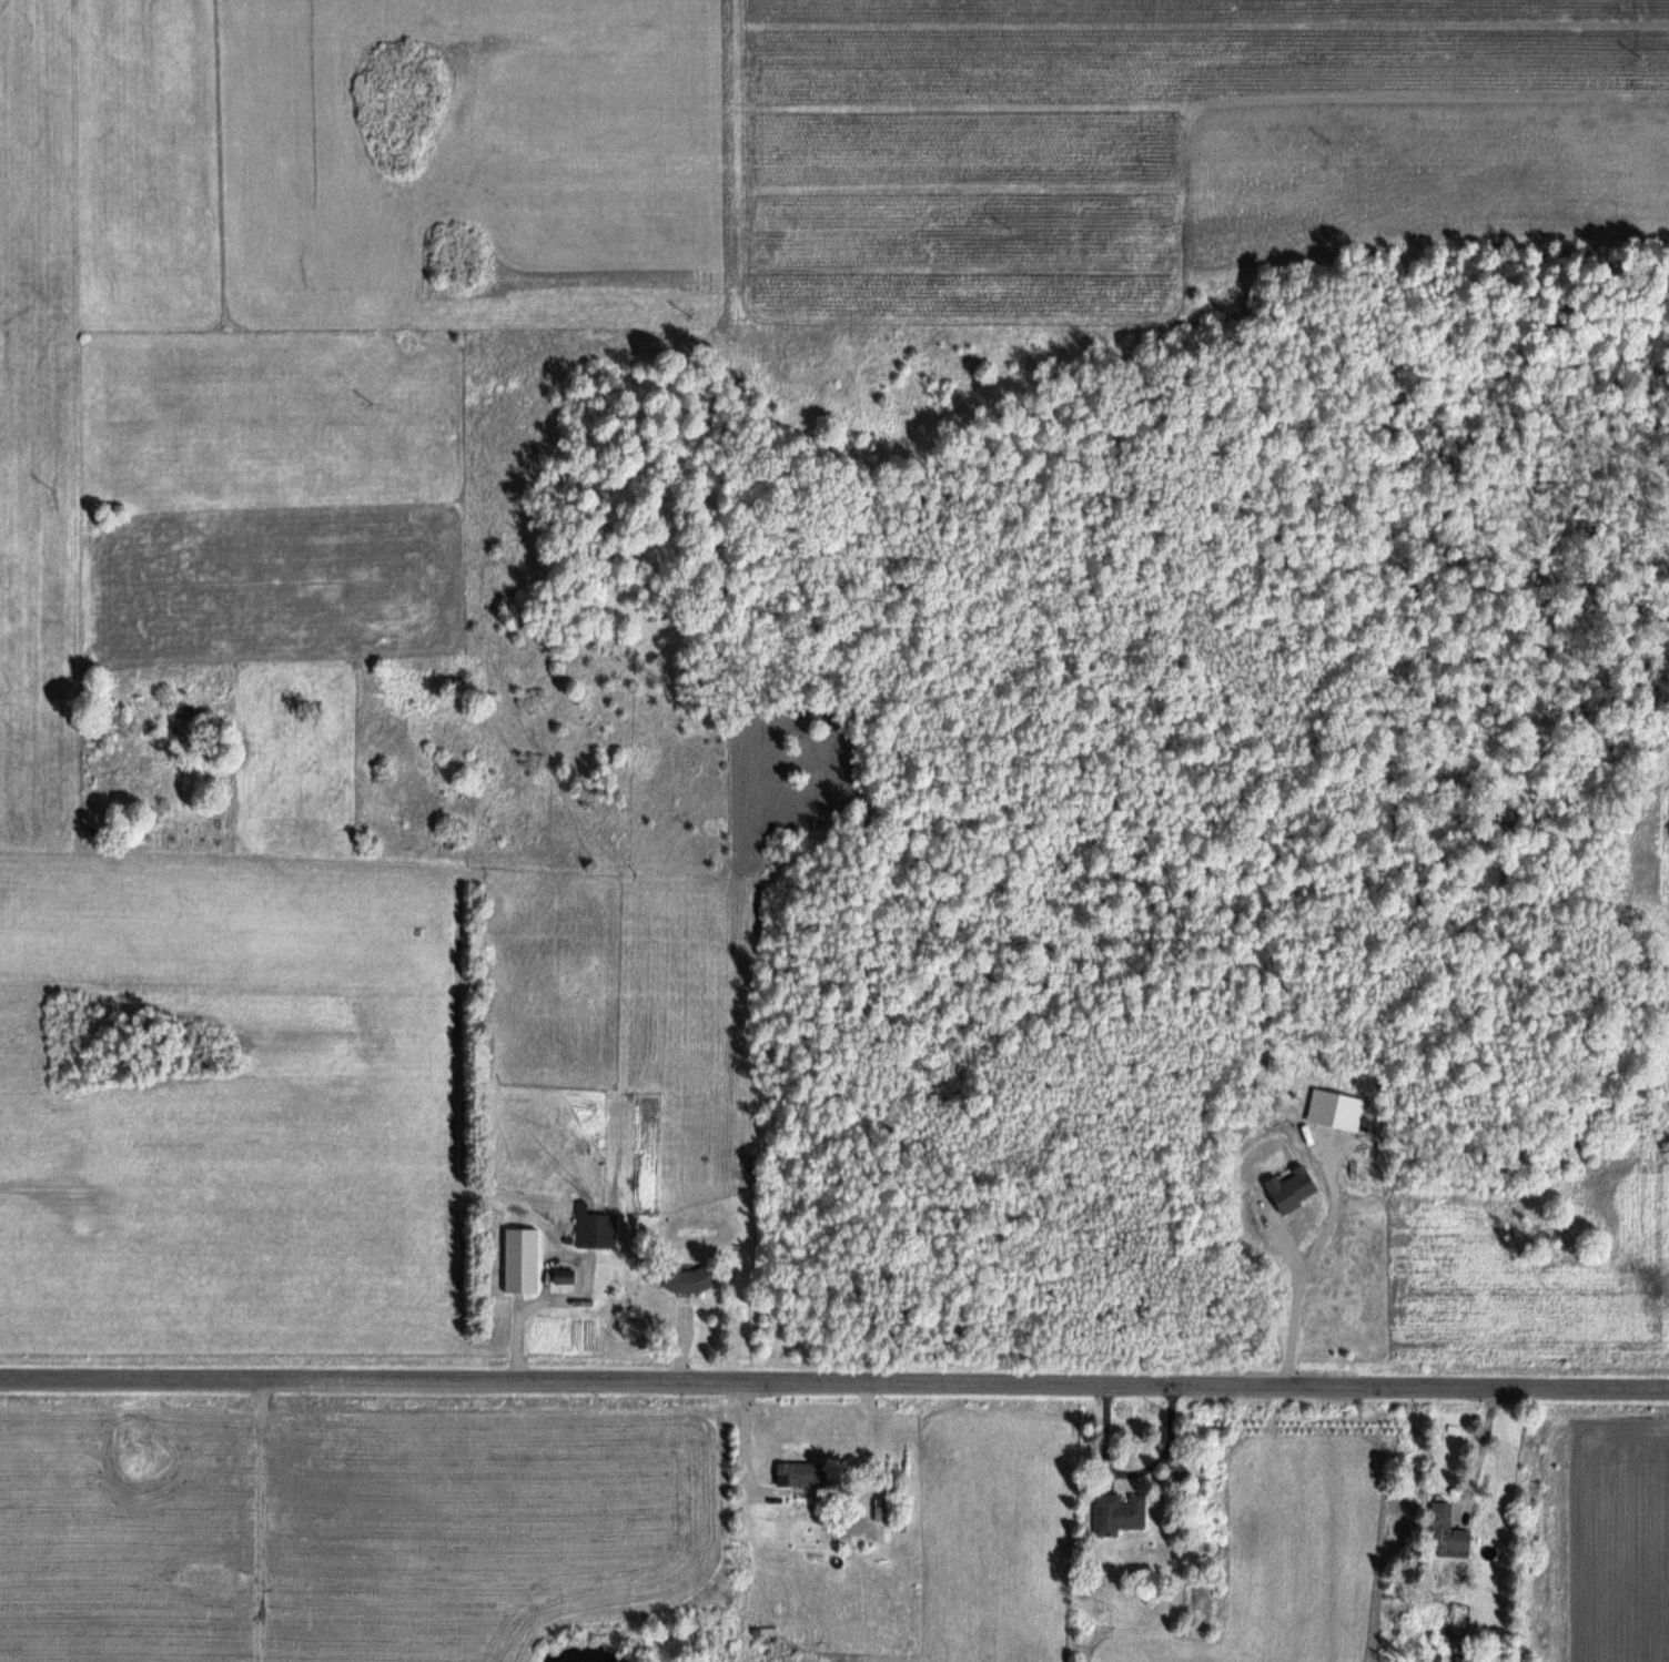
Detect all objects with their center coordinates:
building: (593, 1227)
building: (563, 1275)
building: (687, 1281)
road: (834, 1378)
building: (801, 1473)
building: (1177, 1473)
building: (890, 1487)
building: (1117, 1512)
building: (1446, 1530)

